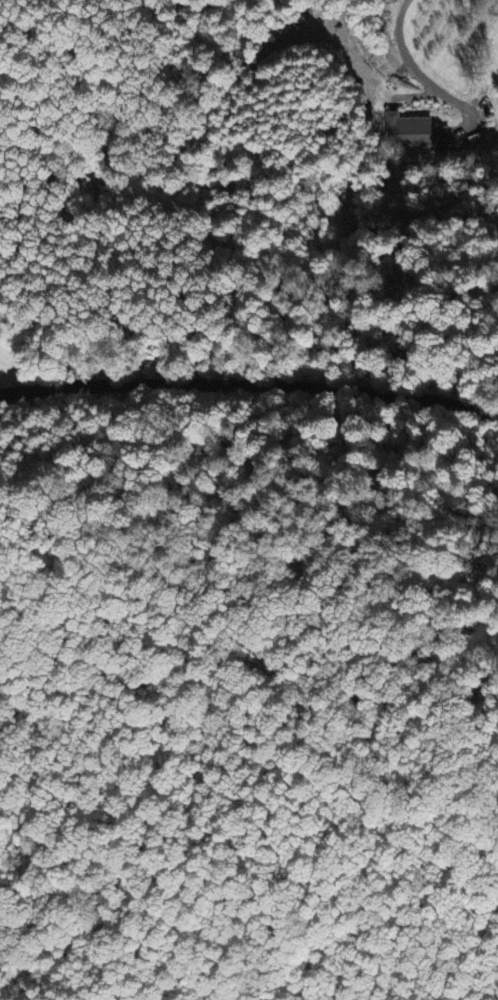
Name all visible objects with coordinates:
road: (399, 39)
building: (429, 134)
road: (250, 384)
road: (283, 584)
road: (1, 656)

